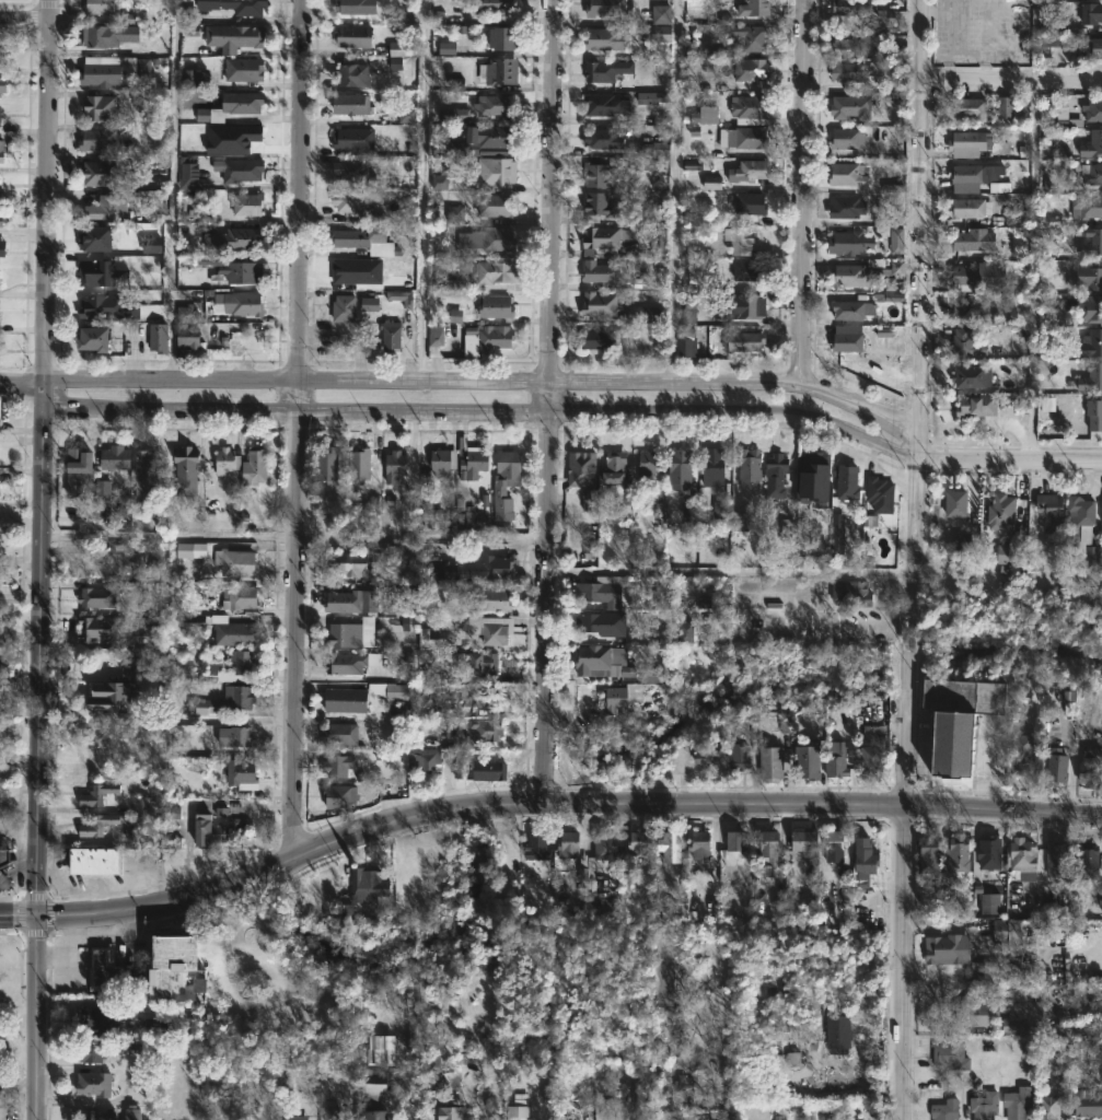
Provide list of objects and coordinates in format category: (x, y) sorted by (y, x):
building: (235, 5)
building: (356, 5)
building: (496, 5)
building: (98, 7)
building: (852, 7)
building: (607, 8)
building: (1091, 11)
building: (755, 12)
building: (660, 14)
road: (24, 16)
building: (660, 34)
building: (108, 35)
building: (353, 35)
building: (233, 36)
building: (503, 37)
building: (606, 38)
building: (753, 38)
building: (850, 39)
building: (1049, 42)
building: (0, 47)
building: (1092, 47)
building: (446, 48)
building: (396, 50)
building: (244, 69)
building: (753, 69)
building: (499, 71)
building: (849, 71)
building: (100, 72)
building: (601, 72)
building: (351, 74)
building: (188, 79)
road: (1011, 82)
building: (2, 84)
building: (650, 97)
building: (891, 97)
building: (245, 101)
building: (351, 103)
building: (606, 103)
building: (494, 104)
building: (856, 106)
building: (100, 107)
building: (1004, 107)
building: (971, 108)
building: (751, 109)
building: (1093, 109)
building: (0, 113)
building: (406, 115)
building: (453, 115)
building: (706, 115)
building: (246, 137)
building: (747, 138)
building: (848, 138)
building: (353, 139)
building: (97, 140)
building: (476, 140)
building: (603, 140)
building: (971, 142)
building: (1093, 144)
building: (654, 149)
building: (1, 151)
building: (237, 168)
building: (350, 172)
building: (497, 172)
building: (103, 173)
building: (751, 173)
building: (1092, 173)
building: (848, 174)
building: (190, 175)
building: (598, 175)
building: (979, 178)
building: (440, 179)
building: (711, 182)
road: (173, 191)
road: (421, 191)
road: (44, 192)
road: (549, 192)
road: (673, 192)
road: (803, 196)
building: (347, 201)
building: (752, 203)
building: (247, 205)
building: (497, 205)
building: (1088, 206)
building: (600, 207)
building: (847, 207)
building: (971, 207)
building: (108, 208)
building: (454, 214)
building: (0, 220)
building: (243, 237)
building: (604, 237)
building: (95, 240)
building: (487, 240)
building: (740, 240)
building: (367, 241)
building: (895, 241)
building: (983, 242)
building: (1097, 242)
building: (659, 243)
building: (849, 243)
building: (1, 249)
building: (747, 270)
building: (492, 271)
building: (601, 271)
building: (243, 272)
building: (1090, 273)
building: (101, 275)
building: (855, 276)
building: (900, 276)
building: (981, 276)
building: (399, 297)
building: (894, 297)
building: (94, 303)
building: (243, 304)
building: (369, 304)
building: (599, 304)
building: (496, 306)
building: (742, 306)
building: (1088, 307)
building: (344, 308)
building: (686, 308)
building: (963, 308)
building: (854, 310)
building: (187, 315)
building: (646, 315)
building: (883, 331)
building: (391, 336)
building: (436, 336)
building: (489, 336)
building: (188, 337)
building: (158, 338)
building: (93, 339)
building: (601, 339)
building: (744, 341)
building: (963, 341)
building: (687, 342)
building: (848, 342)
building: (1093, 343)
building: (975, 376)
building: (1092, 377)
road: (293, 384)
road: (20, 385)
road: (741, 387)
road: (548, 400)
road: (920, 402)
building: (976, 406)
road: (289, 412)
building: (1094, 413)
road: (736, 416)
road: (297, 425)
building: (115, 457)
road: (1008, 459)
building: (227, 460)
building: (78, 463)
building: (327, 463)
building: (474, 463)
building: (649, 463)
building: (359, 464)
building: (395, 466)
building: (254, 467)
building: (442, 467)
building: (681, 467)
building: (715, 467)
building: (750, 468)
building: (581, 469)
building: (186, 470)
building: (146, 475)
building: (776, 475)
building: (618, 477)
building: (814, 479)
building: (507, 481)
building: (847, 482)
building: (881, 494)
building: (102, 498)
building: (589, 500)
building: (956, 503)
building: (720, 510)
building: (1052, 510)
building: (1002, 511)
building: (427, 514)
building: (1101, 516)
building: (476, 520)
building: (739, 522)
building: (333, 523)
building: (785, 525)
building: (836, 535)
building: (1083, 537)
building: (962, 539)
building: (190, 550)
building: (1010, 555)
building: (126, 558)
building: (236, 563)
building: (348, 563)
building: (489, 569)
building: (611, 580)
building: (852, 592)
building: (601, 593)
building: (97, 598)
building: (241, 598)
building: (492, 600)
building: (347, 603)
road: (546, 607)
building: (391, 608)
building: (595, 621)
building: (187, 623)
building: (116, 628)
building: (488, 629)
building: (233, 632)
building: (685, 633)
building: (352, 634)
building: (424, 640)
road: (37, 651)
building: (594, 662)
building: (345, 664)
building: (477, 664)
building: (243, 667)
building: (648, 677)
building: (391, 691)
building: (113, 695)
building: (480, 696)
building: (239, 697)
building: (623, 698)
building: (347, 700)
building: (204, 707)
building: (399, 709)
building: (958, 723)
building: (487, 730)
building: (340, 734)
building: (236, 738)
building: (1022, 752)
building: (703, 755)
building: (740, 757)
building: (420, 760)
building: (808, 760)
building: (772, 762)
building: (872, 762)
building: (837, 763)
building: (335, 767)
building: (1057, 767)
building: (1091, 768)
building: (495, 772)
building: (242, 775)
building: (96, 795)
building: (339, 795)
building: (141, 807)
road: (442, 808)
road: (1001, 812)
building: (96, 825)
building: (208, 829)
building: (734, 841)
building: (807, 841)
building: (835, 843)
building: (604, 844)
building: (537, 845)
building: (671, 847)
building: (700, 847)
building: (639, 848)
building: (770, 849)
building: (573, 850)
building: (958, 853)
building: (929, 854)
building: (990, 854)
building: (1023, 855)
building: (3, 856)
building: (1057, 859)
building: (1089, 861)
building: (94, 862)
building: (865, 863)
building: (3, 882)
building: (363, 888)
building: (989, 903)
building: (1048, 909)
traffic signals: (34, 915)
building: (1056, 927)
building: (1014, 936)
building: (949, 948)
building: (174, 961)
road: (904, 962)
building: (105, 966)
building: (662, 969)
building: (1088, 990)
building: (420, 992)
building: (978, 1010)
road: (34, 1017)
building: (101, 1017)
building: (156, 1024)
building: (417, 1026)
building: (1072, 1030)
building: (839, 1032)
building: (93, 1048)
building: (380, 1050)
building: (952, 1054)
building: (439, 1073)
building: (94, 1083)
road: (14, 1085)
building: (375, 1089)
building: (1089, 1101)
building: (1018, 1102)
building: (986, 1105)
building: (78, 1107)
building: (1049, 1107)
building: (518, 1108)
building: (946, 1109)
building: (132, 1112)
building: (330, 1112)
building: (452, 1113)
building: (294, 1117)

